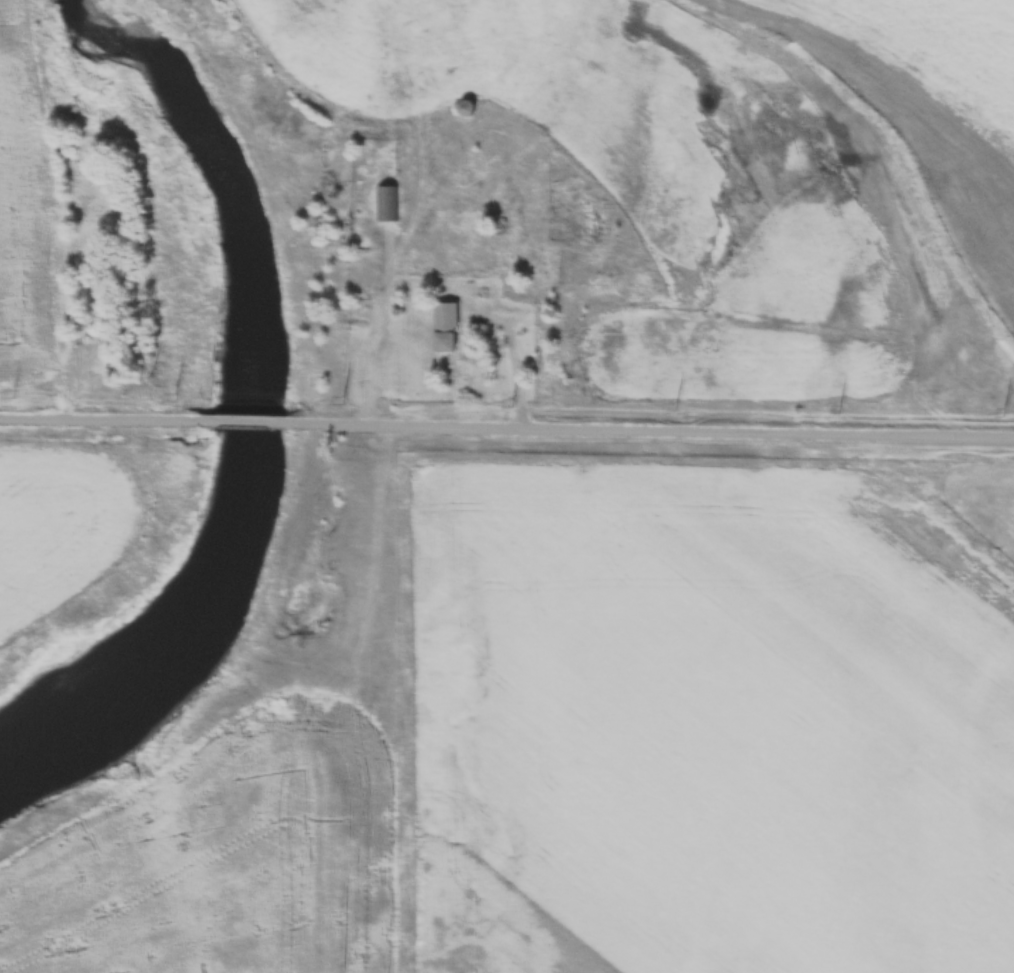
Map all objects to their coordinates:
building: (465, 109)
building: (385, 204)
building: (593, 223)
building: (443, 336)
river: (245, 422)
road: (101, 423)
road: (244, 427)
road: (650, 435)

